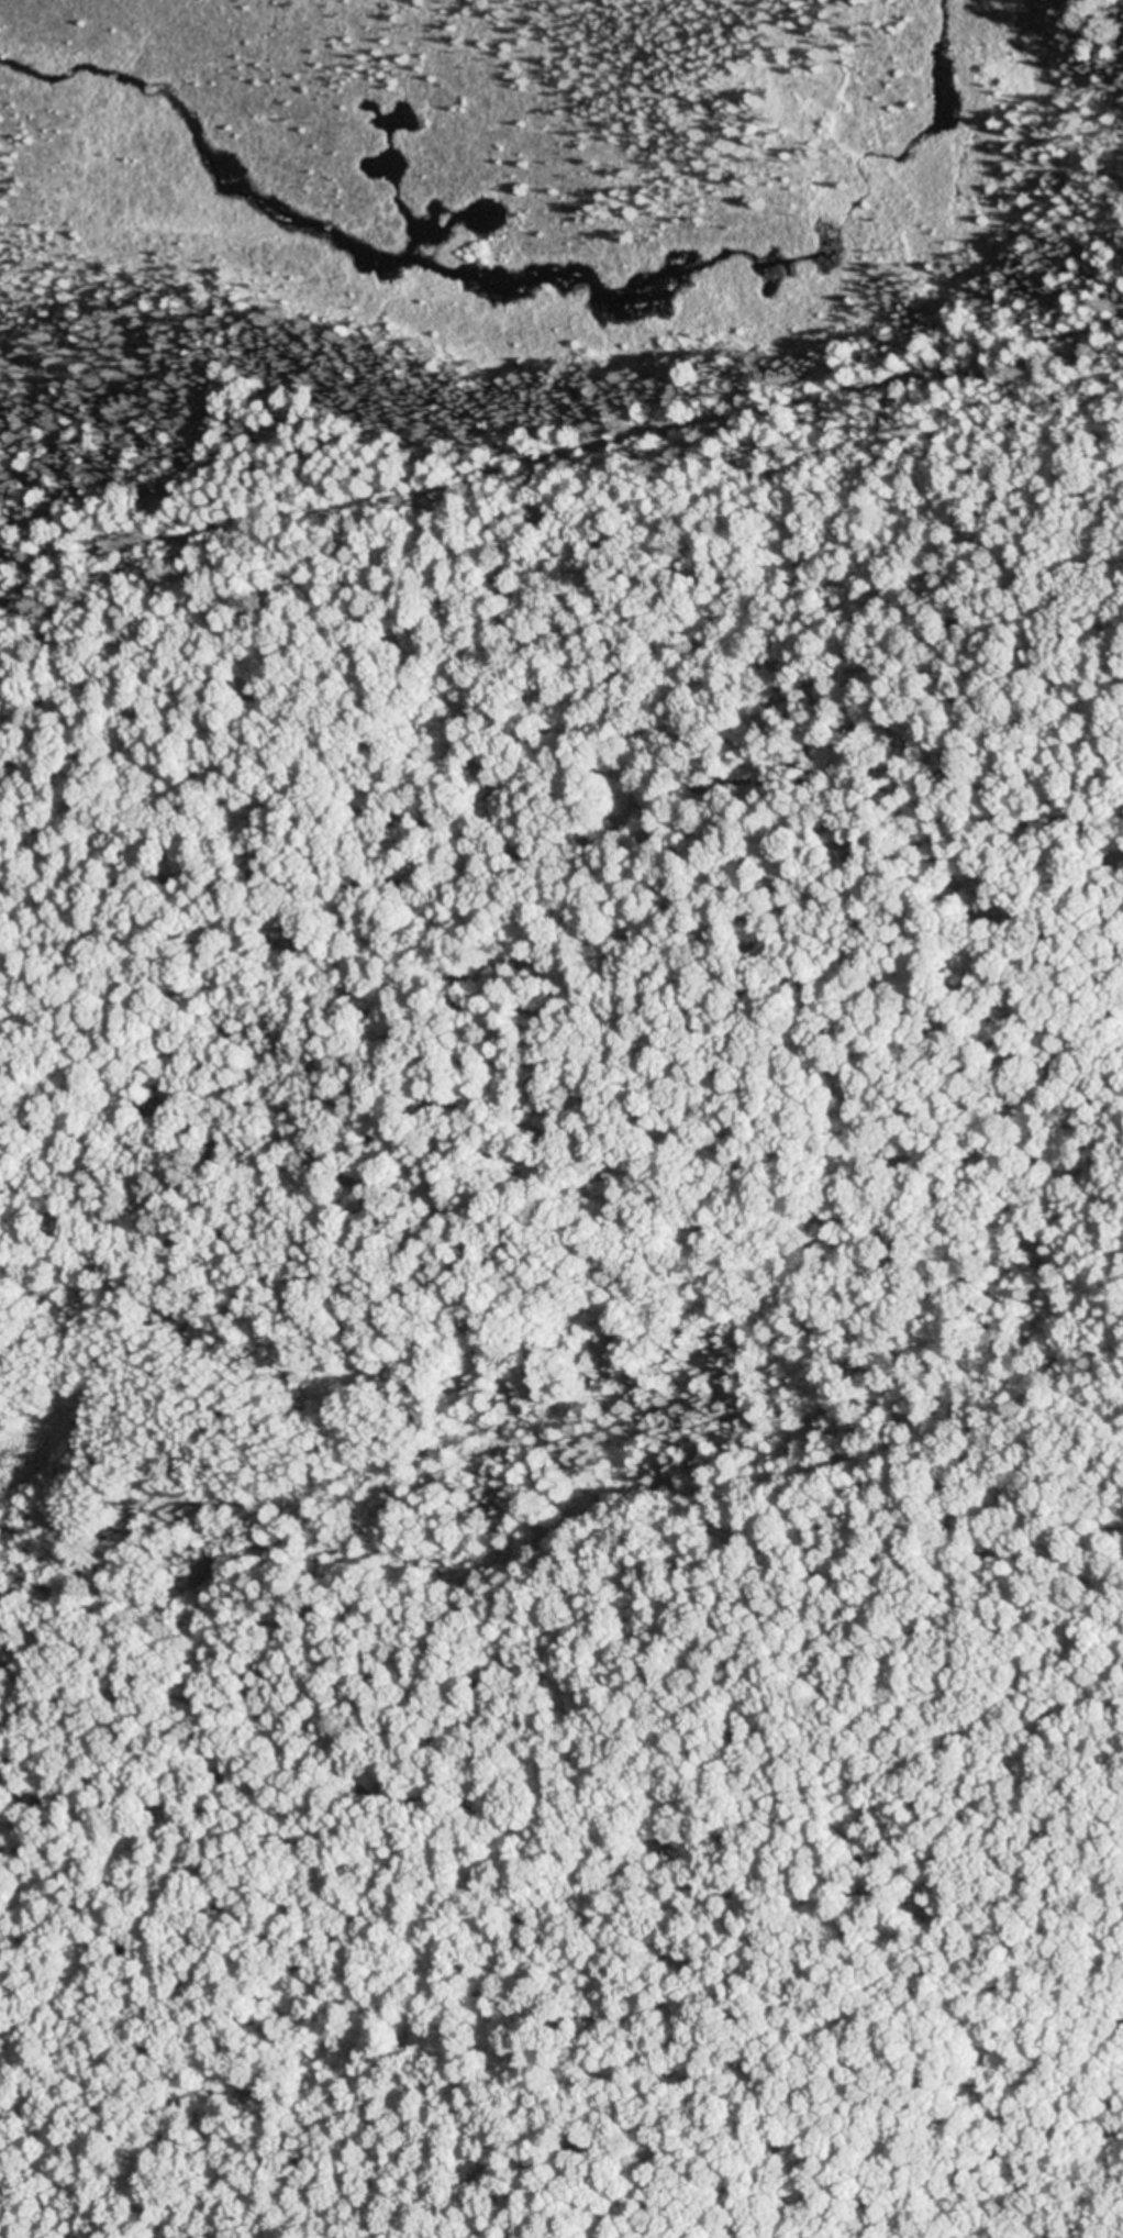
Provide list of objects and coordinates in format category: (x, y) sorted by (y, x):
road: (561, 454)

